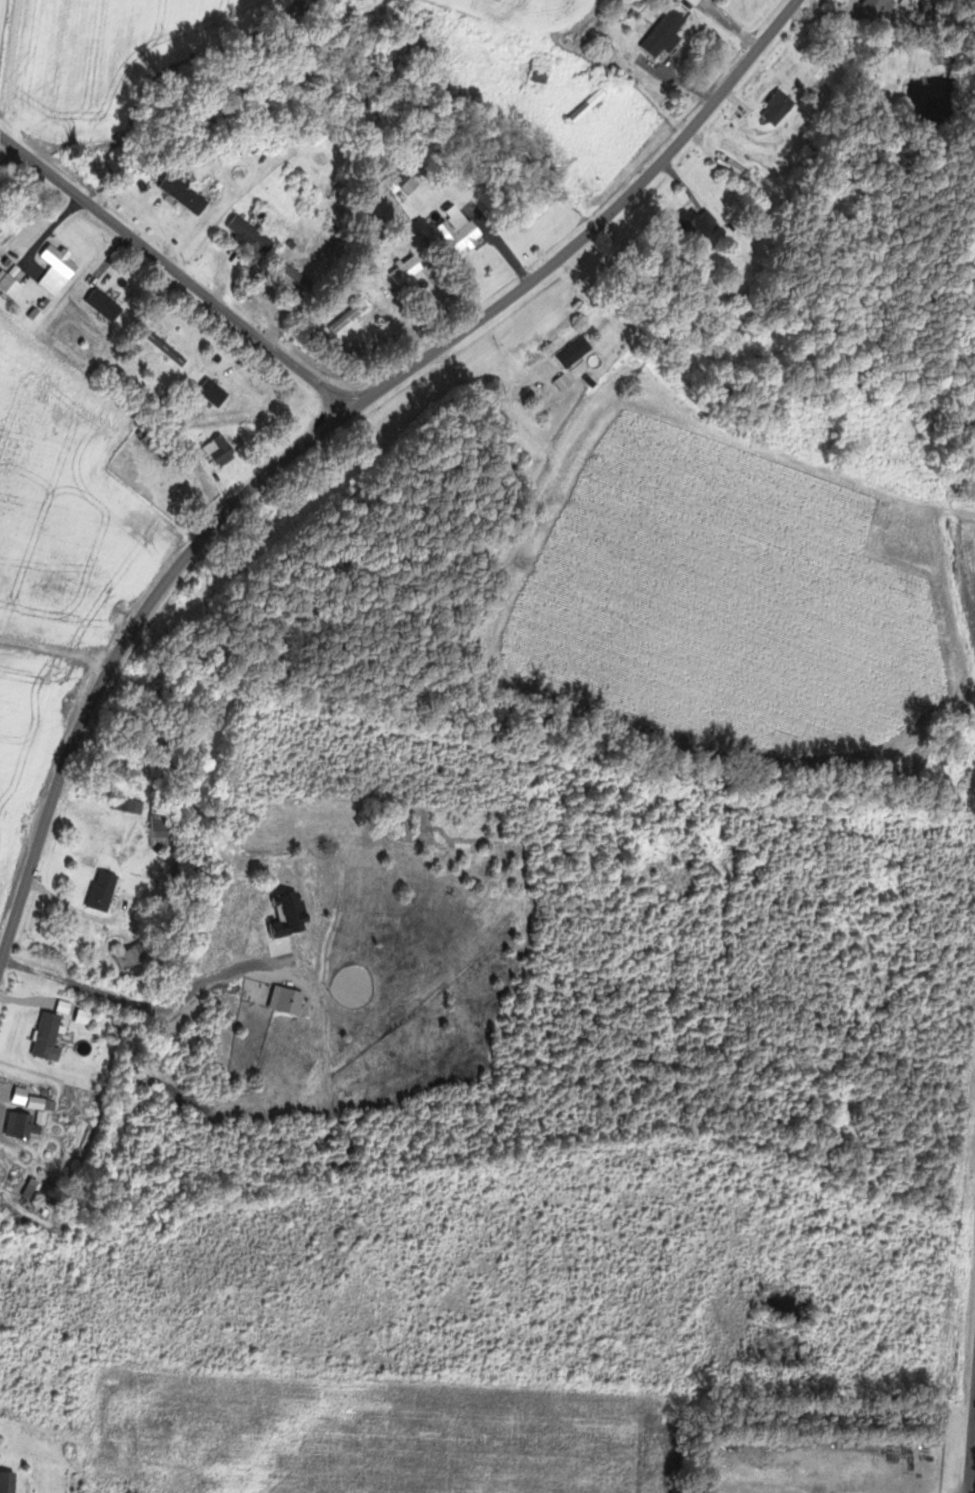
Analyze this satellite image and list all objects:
building: (911, 3)
building: (880, 6)
building: (668, 34)
building: (590, 106)
building: (781, 108)
building: (186, 194)
building: (702, 225)
building: (462, 230)
building: (250, 235)
building: (59, 268)
building: (408, 270)
road: (176, 274)
building: (299, 276)
building: (10, 284)
building: (106, 304)
building: (576, 352)
building: (215, 392)
road: (326, 433)
building: (513, 449)
building: (222, 450)
building: (165, 825)
building: (105, 890)
building: (50, 1036)
building: (44, 1103)
building: (25, 1125)
building: (143, 1474)
building: (9, 1482)
road: (974, 1488)

